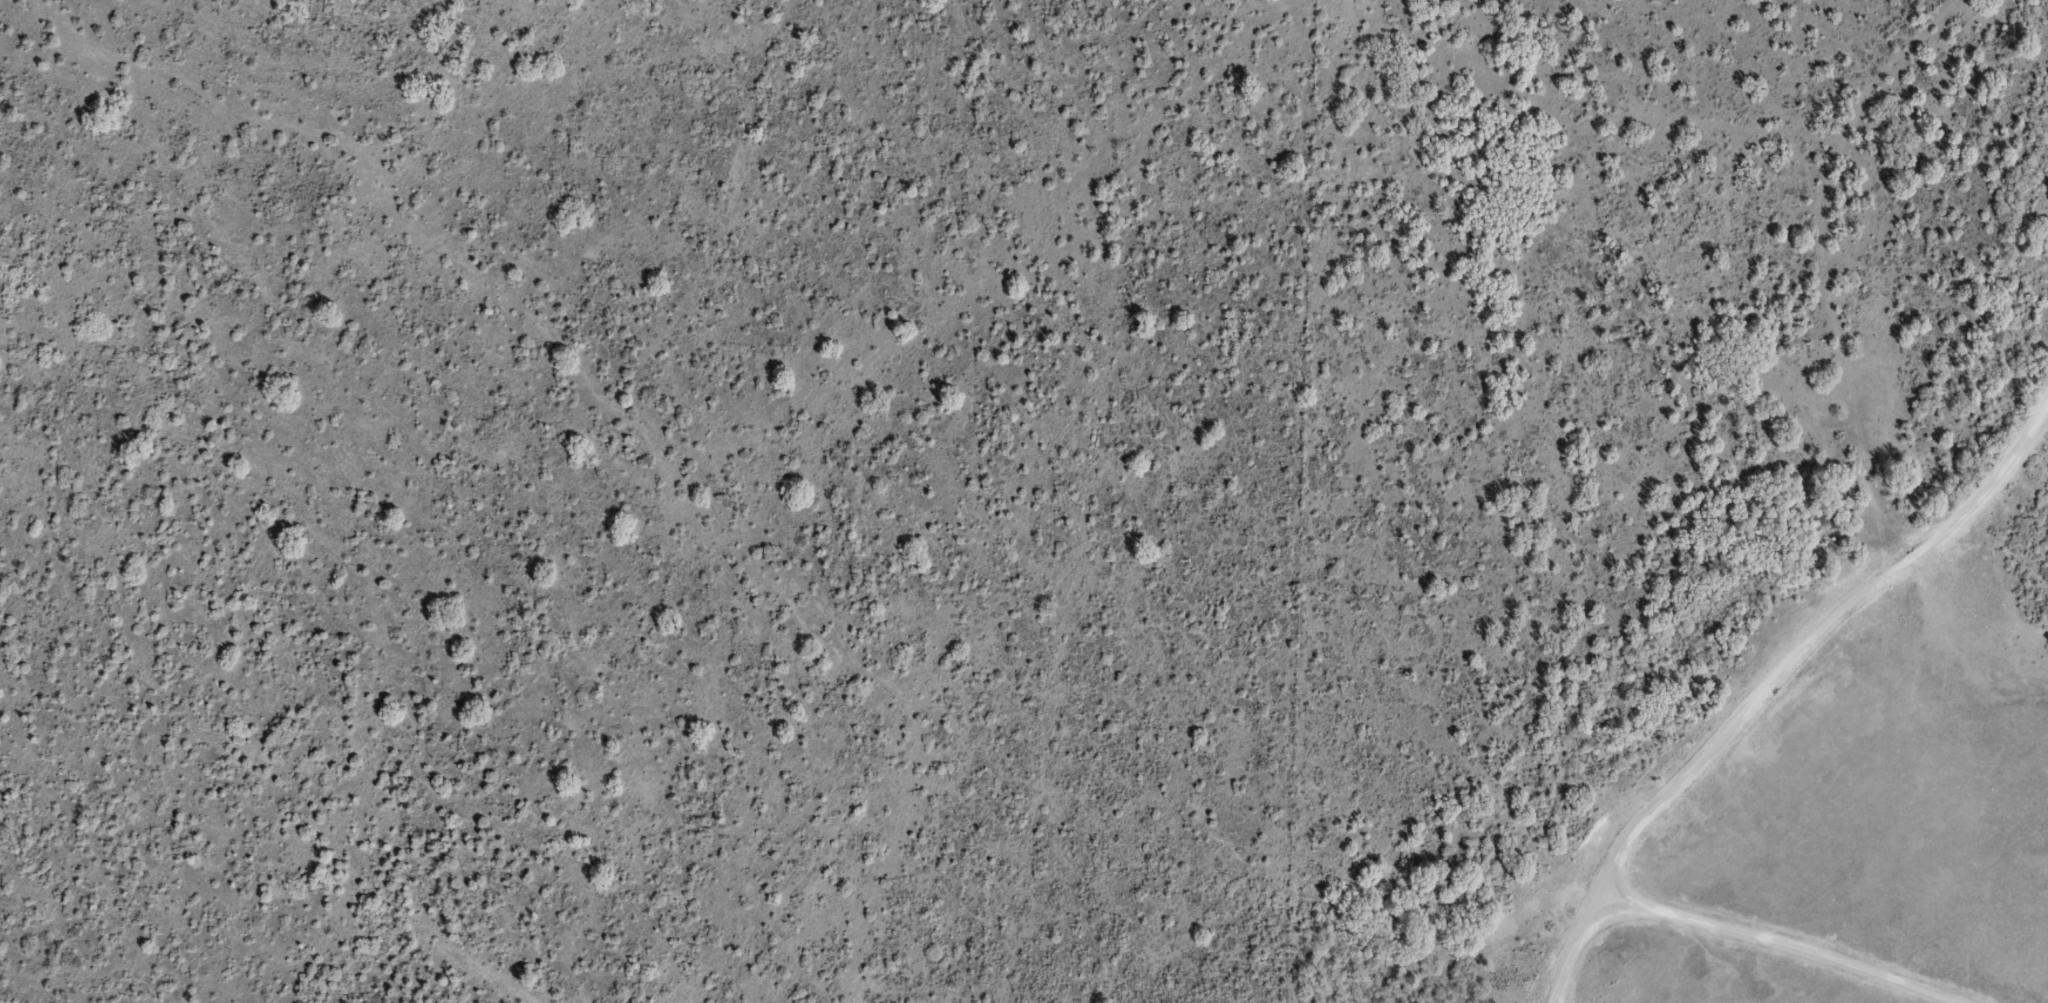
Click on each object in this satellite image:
road: (1789, 735)

